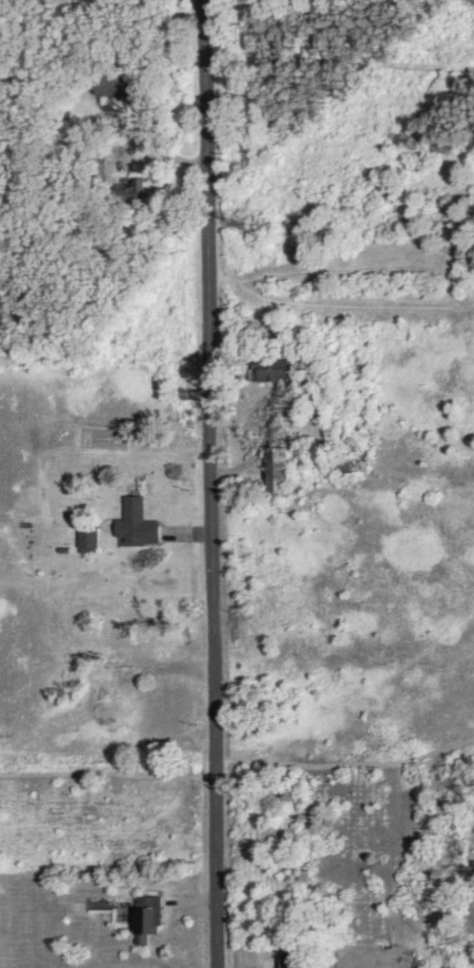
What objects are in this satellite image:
road: (235, 52)
power tower: (256, 225)
road: (458, 251)
road: (354, 307)
building: (280, 372)
building: (282, 473)
road: (205, 484)
building: (138, 524)
road: (344, 762)
road: (105, 763)
building: (149, 918)

